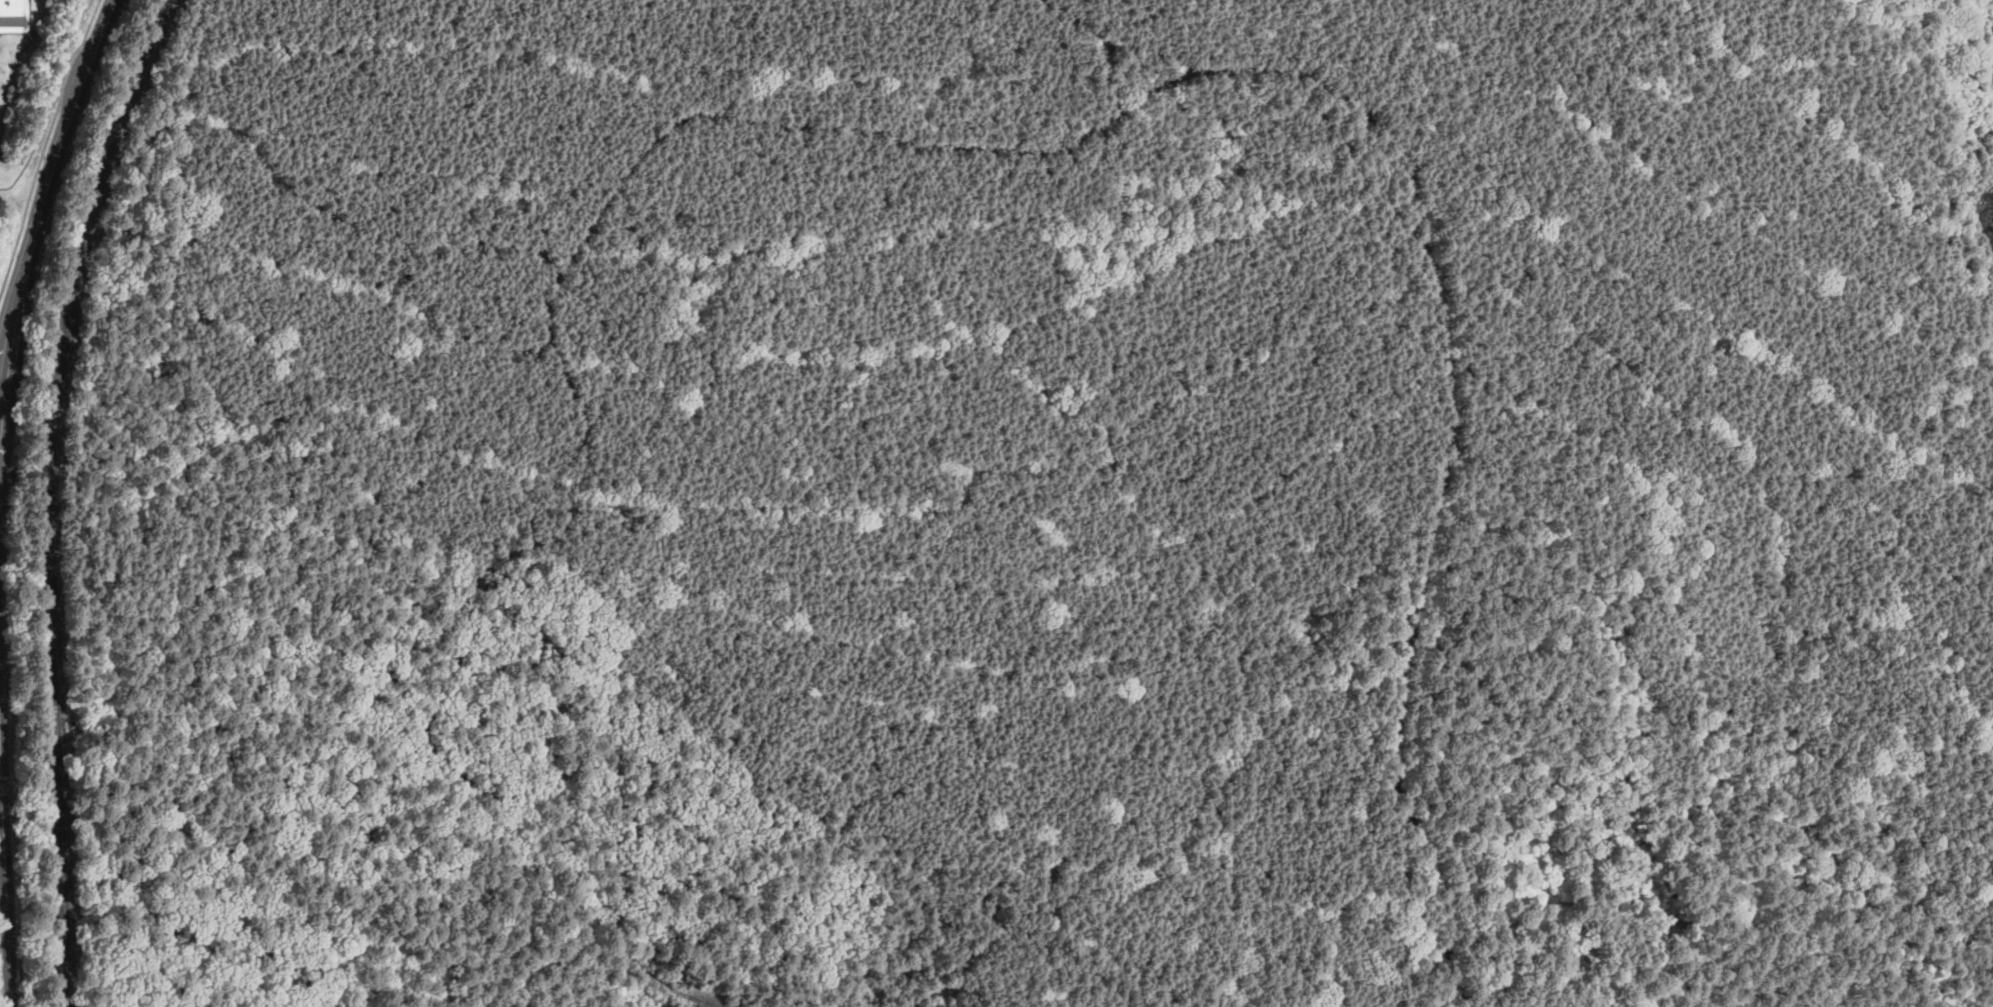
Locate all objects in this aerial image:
building: (14, 15)
road: (1122, 38)
road: (69, 64)
road: (1104, 68)
road: (68, 126)
road: (35, 175)
road: (1036, 221)
road: (525, 224)
road: (545, 317)
road: (17, 325)
road: (1055, 376)
road: (4, 394)
road: (1567, 409)
road: (4, 433)
road: (1438, 471)
road: (45, 490)
railway: (51, 494)
road: (594, 541)
road: (1866, 548)
road: (131, 565)
road: (436, 609)
road: (482, 615)
road: (775, 682)
road: (477, 717)
road: (360, 759)
road: (87, 782)
road: (1849, 796)
road: (2, 819)
road: (1852, 821)
road: (307, 842)
road: (581, 870)
road: (6, 871)
road: (1470, 899)
road: (1626, 938)
road: (841, 992)

